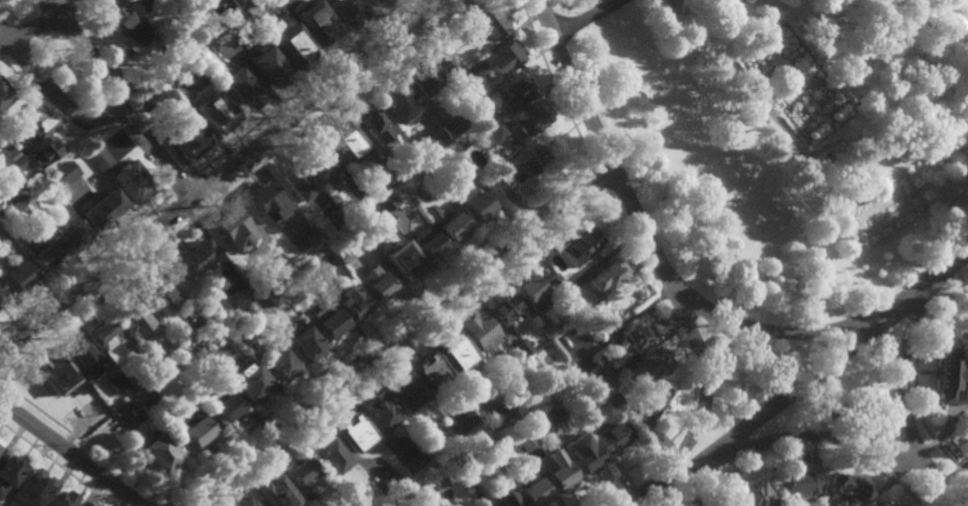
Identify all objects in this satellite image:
building: (748, 0)
building: (371, 1)
building: (239, 2)
building: (140, 3)
building: (256, 6)
road: (89, 9)
building: (224, 9)
building: (345, 9)
road: (16, 10)
road: (74, 10)
building: (174, 10)
road: (773, 15)
building: (119, 16)
road: (584, 17)
road: (1, 20)
road: (82, 20)
building: (318, 21)
road: (746, 21)
building: (489, 22)
road: (40, 24)
road: (68, 26)
road: (940, 33)
building: (221, 36)
road: (545, 38)
road: (42, 41)
building: (178, 43)
building: (296, 43)
road: (102, 44)
road: (16, 52)
building: (502, 55)
road: (3, 57)
road: (95, 59)
building: (271, 65)
building: (449, 67)
road: (117, 68)
building: (420, 73)
building: (180, 74)
building: (457, 78)
road: (554, 78)
road: (797, 83)
building: (516, 84)
road: (797, 84)
building: (244, 85)
road: (299, 90)
building: (3, 92)
road: (54, 94)
building: (150, 98)
building: (394, 100)
building: (498, 103)
building: (476, 107)
road: (114, 110)
building: (217, 110)
building: (533, 113)
road: (51, 115)
road: (126, 117)
building: (455, 122)
building: (376, 123)
road: (830, 125)
building: (24, 130)
building: (495, 133)
building: (187, 134)
building: (345, 139)
park: (787, 139)
building: (422, 143)
road: (161, 145)
building: (43, 149)
building: (8, 151)
building: (531, 155)
road: (804, 155)
building: (99, 157)
road: (160, 160)
road: (587, 160)
building: (18, 161)
building: (321, 161)
building: (398, 168)
building: (465, 169)
building: (62, 173)
road: (595, 175)
road: (219, 176)
building: (128, 179)
building: (297, 179)
road: (191, 183)
building: (4, 186)
building: (502, 186)
road: (179, 187)
building: (438, 187)
road: (232, 188)
building: (24, 191)
road: (602, 191)
road: (198, 192)
building: (0, 195)
building: (341, 195)
building: (13, 200)
building: (268, 200)
building: (386, 201)
road: (207, 202)
building: (478, 205)
building: (100, 207)
building: (336, 217)
building: (367, 220)
building: (449, 223)
building: (233, 227)
building: (71, 234)
building: (304, 238)
building: (428, 241)
building: (581, 244)
building: (37, 251)
building: (342, 252)
building: (193, 257)
building: (402, 259)
road: (86, 263)
building: (273, 266)
building: (15, 273)
building: (320, 273)
building: (605, 276)
building: (375, 281)
building: (554, 282)
building: (531, 291)
building: (567, 292)
building: (157, 293)
building: (293, 293)
building: (237, 294)
building: (1, 295)
building: (274, 295)
road: (692, 297)
building: (353, 301)
building: (503, 308)
building: (130, 313)
building: (332, 324)
building: (202, 326)
building: (548, 328)
road: (375, 330)
building: (481, 331)
road: (815, 331)
building: (101, 332)
building: (636, 333)
building: (243, 335)
road: (397, 336)
building: (214, 340)
building: (305, 341)
building: (171, 347)
building: (523, 347)
road: (403, 348)
building: (454, 351)
building: (199, 355)
building: (80, 356)
building: (140, 360)
building: (281, 364)
building: (647, 365)
road: (689, 368)
building: (94, 370)
building: (427, 371)
building: (595, 371)
building: (53, 373)
building: (127, 375)
building: (953, 377)
road: (916, 381)
building: (116, 382)
building: (252, 382)
road: (803, 386)
building: (135, 387)
road: (3, 388)
road: (707, 388)
road: (0, 391)
building: (401, 391)
road: (905, 392)
building: (147, 397)
building: (611, 401)
building: (225, 406)
building: (649, 407)
building: (379, 412)
building: (550, 412)
building: (499, 415)
building: (528, 415)
building: (127, 416)
building: (462, 422)
building: (194, 426)
building: (967, 426)
building: (355, 432)
building: (611, 436)
road: (796, 438)
building: (525, 439)
road: (80, 442)
building: (437, 442)
road: (800, 448)
building: (491, 449)
building: (160, 453)
road: (71, 454)
building: (331, 454)
building: (584, 458)
road: (912, 459)
building: (411, 463)
road: (56, 464)
building: (463, 469)
building: (9, 470)
building: (302, 470)
road: (679, 470)
building: (556, 471)
building: (387, 482)
building: (436, 483)
building: (799, 483)
building: (31, 489)
building: (844, 491)
building: (276, 493)
building: (530, 493)
building: (752, 494)
building: (351, 497)
building: (502, 497)
building: (62, 500)
building: (409, 501)
road: (163, 502)
building: (244, 503)
building: (718, 504)
building: (880, 504)
building: (889, 504)
building: (474, 505)
building: (723, 505)

